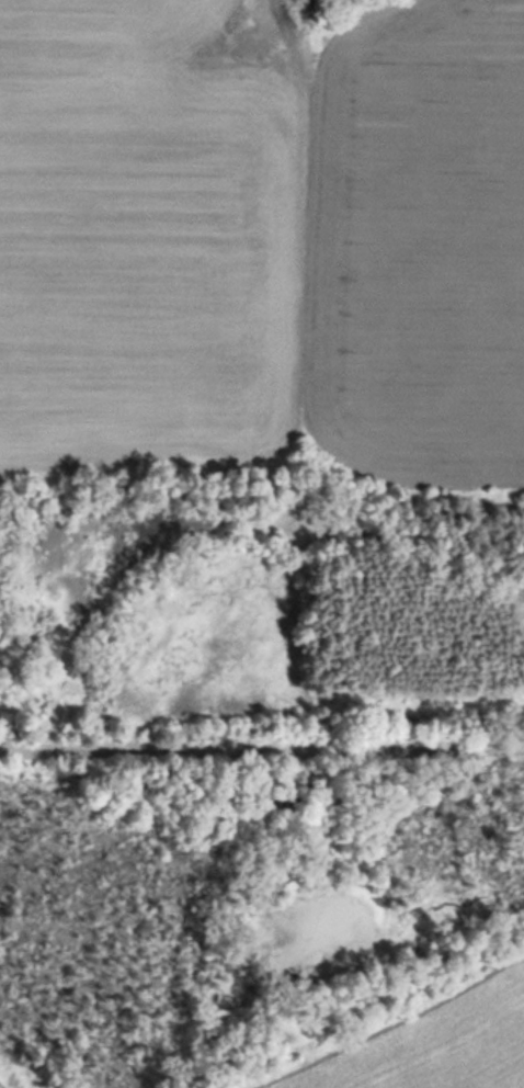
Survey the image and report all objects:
road: (262, 745)

